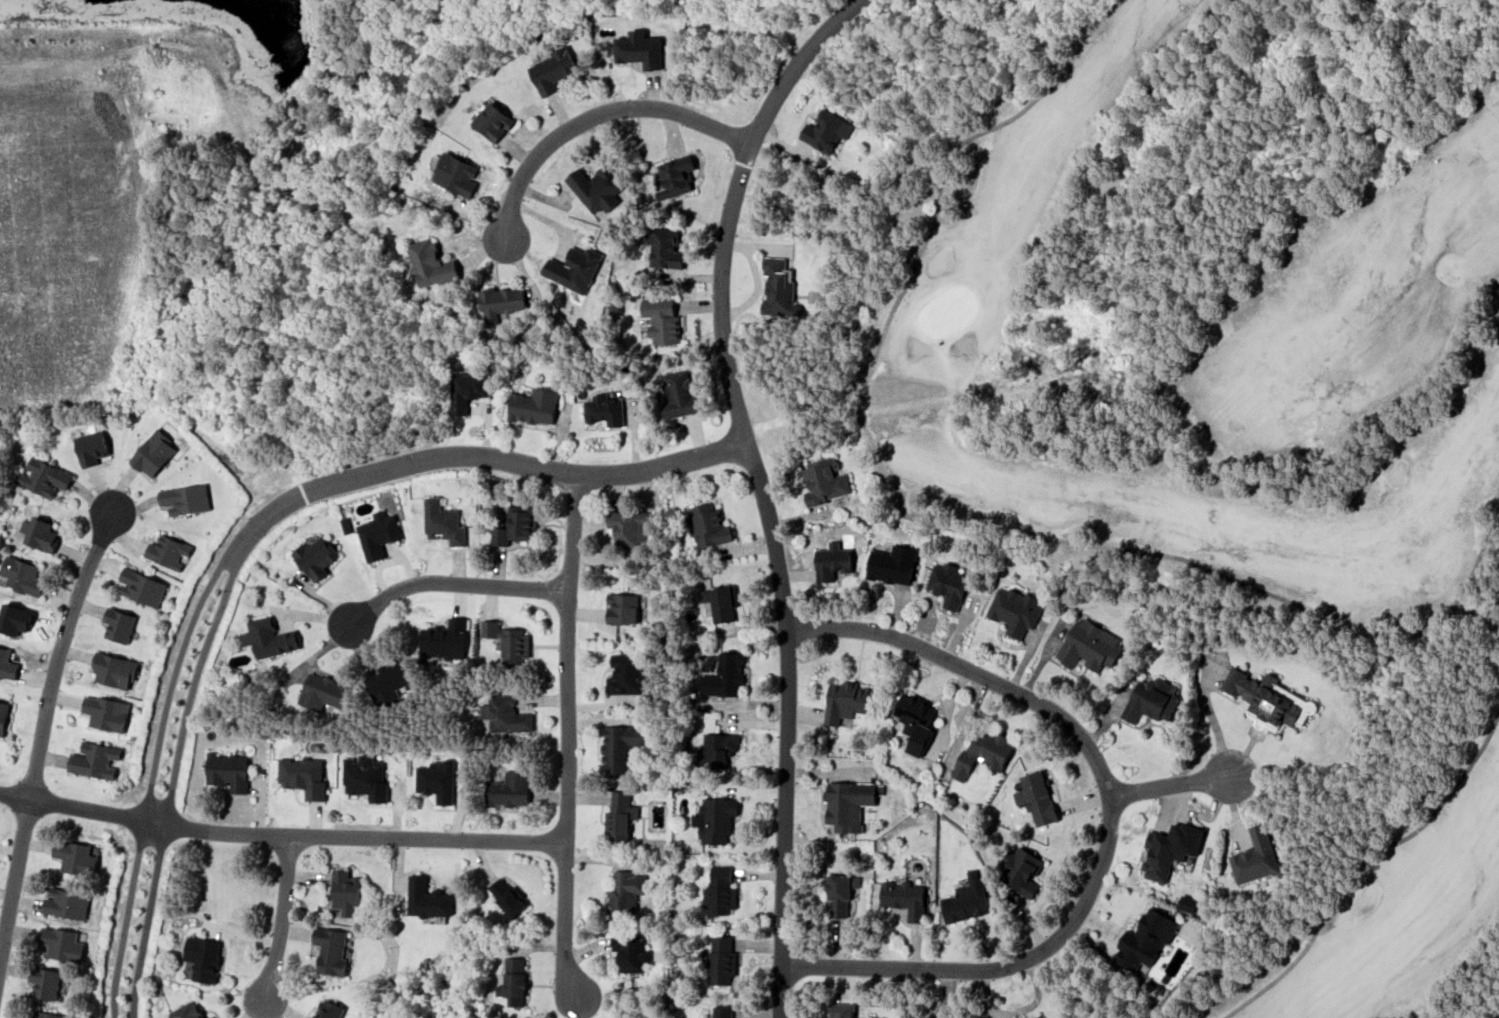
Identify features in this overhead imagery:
building: (640, 49)
building: (552, 70)
road: (594, 104)
building: (493, 121)
building: (827, 130)
building: (456, 174)
building: (675, 176)
building: (597, 187)
building: (664, 248)
building: (431, 263)
building: (574, 269)
building: (778, 288)
building: (501, 302)
building: (661, 320)
park: (1226, 380)
building: (467, 390)
building: (678, 393)
building: (534, 406)
building: (604, 410)
building: (91, 447)
building: (153, 453)
building: (44, 477)
building: (824, 482)
road: (759, 487)
building: (185, 499)
building: (443, 522)
road: (253, 523)
building: (516, 525)
building: (709, 525)
building: (629, 527)
building: (39, 533)
building: (378, 534)
building: (168, 551)
building: (315, 556)
building: (832, 561)
building: (893, 564)
building: (22, 575)
road: (451, 581)
building: (948, 584)
building: (142, 587)
building: (723, 603)
building: (622, 608)
building: (1014, 610)
building: (119, 625)
building: (489, 628)
building: (269, 637)
building: (444, 639)
building: (1088, 645)
building: (515, 646)
building: (7, 664)
building: (115, 670)
building: (626, 674)
building: (725, 675)
building: (390, 682)
building: (322, 691)
building: (1152, 700)
building: (1268, 700)
building: (845, 701)
building: (106, 713)
building: (505, 715)
building: (3, 716)
building: (915, 721)
road: (42, 732)
road: (565, 735)
building: (619, 746)
building: (717, 750)
building: (984, 752)
building: (95, 759)
building: (229, 771)
building: (303, 775)
building: (365, 777)
road: (1188, 777)
building: (436, 780)
building: (508, 789)
building: (1036, 797)
building: (849, 803)
building: (620, 815)
road: (1111, 818)
building: (715, 819)
road: (280, 832)
building: (1169, 849)
building: (75, 857)
building: (1255, 857)
building: (1021, 870)
building: (625, 890)
building: (721, 890)
building: (345, 891)
building: (840, 893)
building: (507, 896)
building: (426, 898)
building: (904, 898)
building: (67, 903)
building: (1186, 903)
road: (280, 917)
building: (1145, 939)
building: (62, 943)
building: (330, 950)
building: (630, 952)
building: (202, 958)
building: (722, 959)
building: (513, 981)
building: (45, 982)
building: (329, 1009)
building: (841, 1010)
building: (186, 1011)
building: (723, 1012)
building: (49, 1014)
building: (1038, 1016)
building: (211, 1017)

